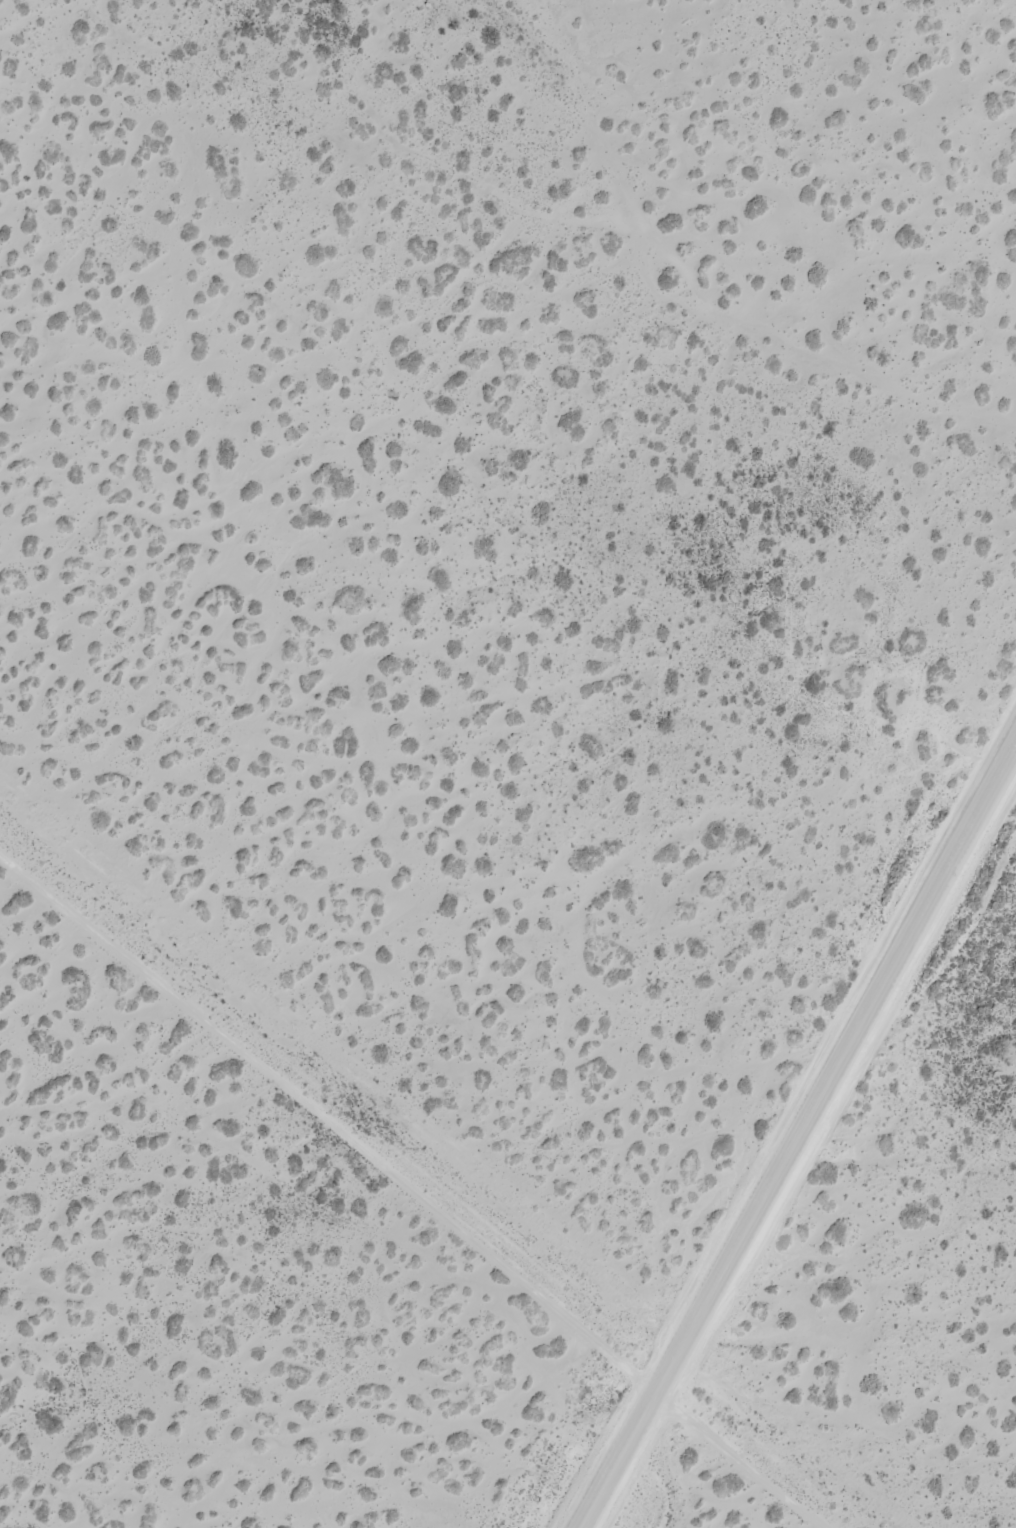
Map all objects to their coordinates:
road: (796, 1134)

